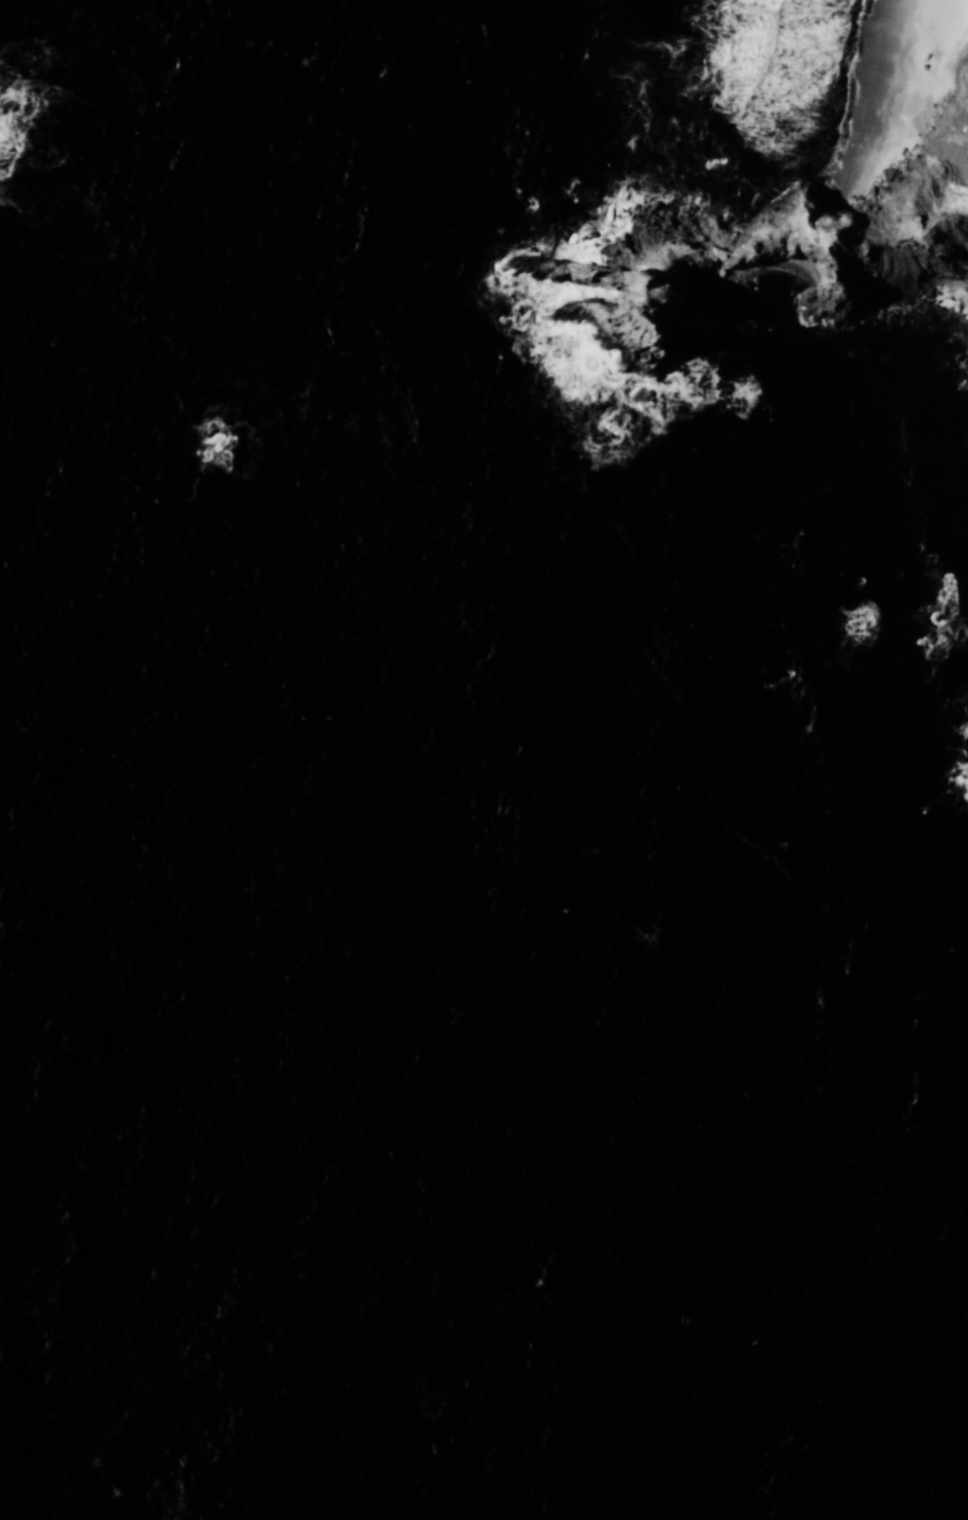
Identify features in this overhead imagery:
park: (873, 74)
park: (861, 174)

